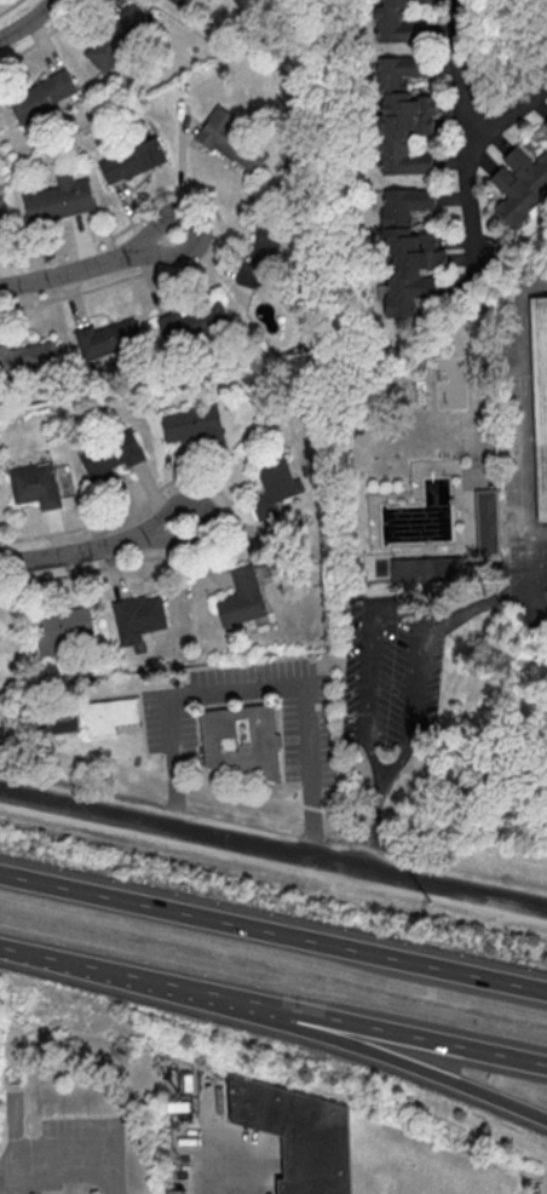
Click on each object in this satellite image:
building: (183, 2)
road: (29, 22)
building: (399, 22)
building: (117, 36)
building: (44, 96)
road: (507, 114)
building: (404, 115)
building: (545, 124)
road: (465, 132)
building: (234, 140)
building: (132, 161)
building: (520, 186)
building: (59, 199)
building: (2, 211)
building: (266, 245)
building: (409, 253)
road: (90, 264)
building: (513, 288)
building: (218, 317)
building: (171, 326)
building: (109, 338)
building: (29, 356)
park: (453, 386)
building: (541, 390)
park: (413, 396)
building: (192, 421)
road: (518, 424)
building: (109, 455)
building: (36, 484)
building: (275, 486)
building: (489, 526)
road: (93, 546)
parking lot: (525, 568)
building: (434, 570)
building: (368, 575)
road: (535, 575)
building: (242, 598)
building: (138, 616)
road: (456, 618)
road: (541, 618)
building: (62, 628)
parking lot: (390, 672)
road: (367, 675)
road: (258, 688)
road: (413, 699)
building: (91, 717)
building: (244, 742)
road: (273, 798)
road: (369, 823)
power tower: (156, 843)
road: (273, 848)
power tower: (489, 917)
road: (273, 932)
road: (149, 985)
road: (422, 1038)
road: (425, 1067)
building: (185, 1083)
building: (174, 1107)
building: (296, 1135)
road: (69, 1158)
building: (177, 1192)

